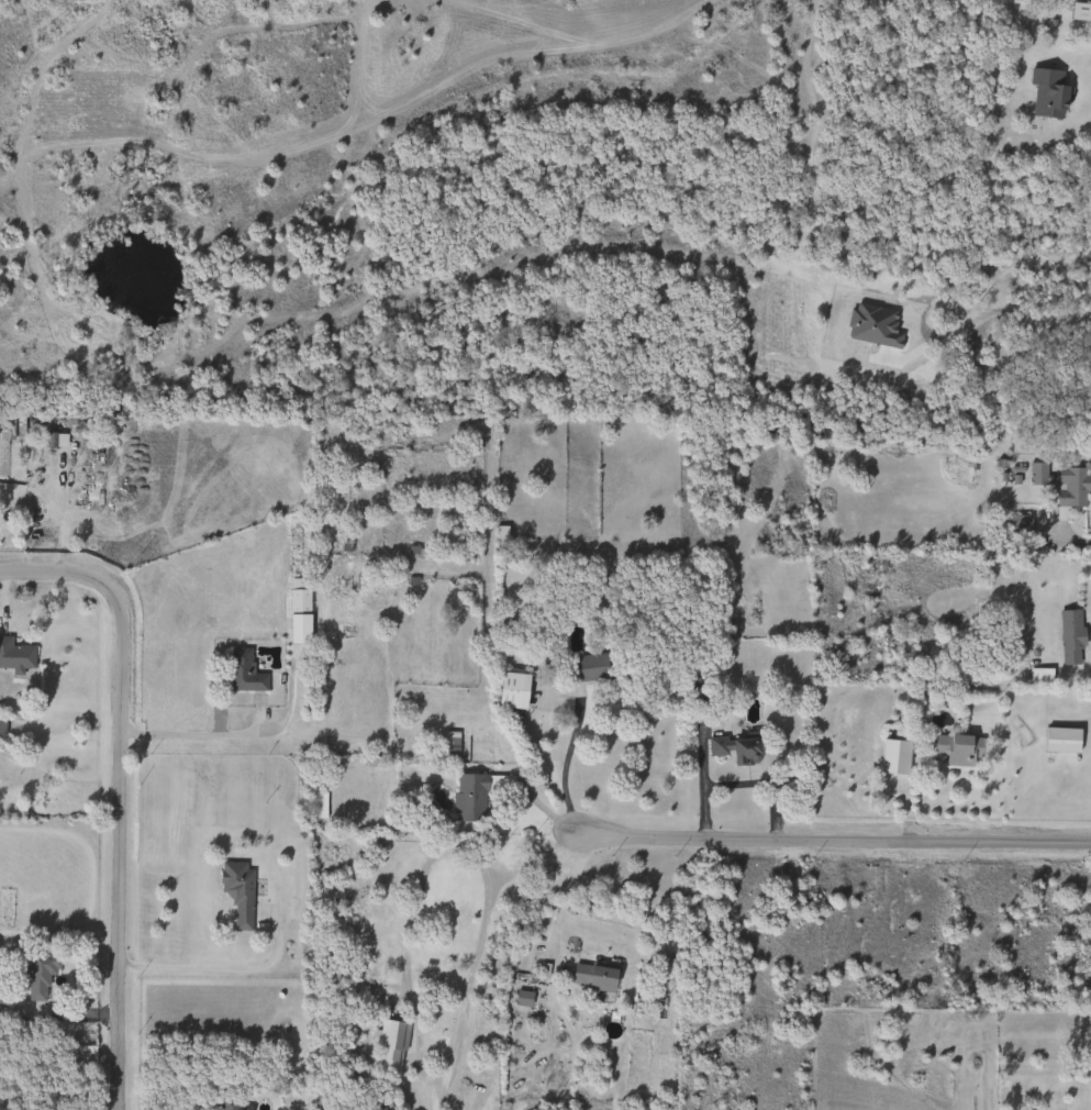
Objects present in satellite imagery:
road: (1076, 48)
building: (1046, 92)
road: (1022, 317)
building: (52, 440)
building: (1059, 485)
building: (1016, 528)
road: (1059, 540)
building: (297, 596)
building: (1068, 637)
building: (14, 655)
building: (586, 667)
road: (1086, 670)
building: (240, 671)
building: (511, 691)
road: (201, 734)
building: (1059, 741)
building: (734, 748)
building: (956, 748)
building: (887, 750)
road: (566, 758)
road: (735, 782)
road: (119, 789)
building: (468, 799)
road: (832, 842)
road: (553, 843)
building: (235, 890)
road: (219, 959)
road: (468, 973)
building: (37, 974)
building: (591, 976)
building: (520, 998)
building: (390, 1034)
building: (223, 1102)

